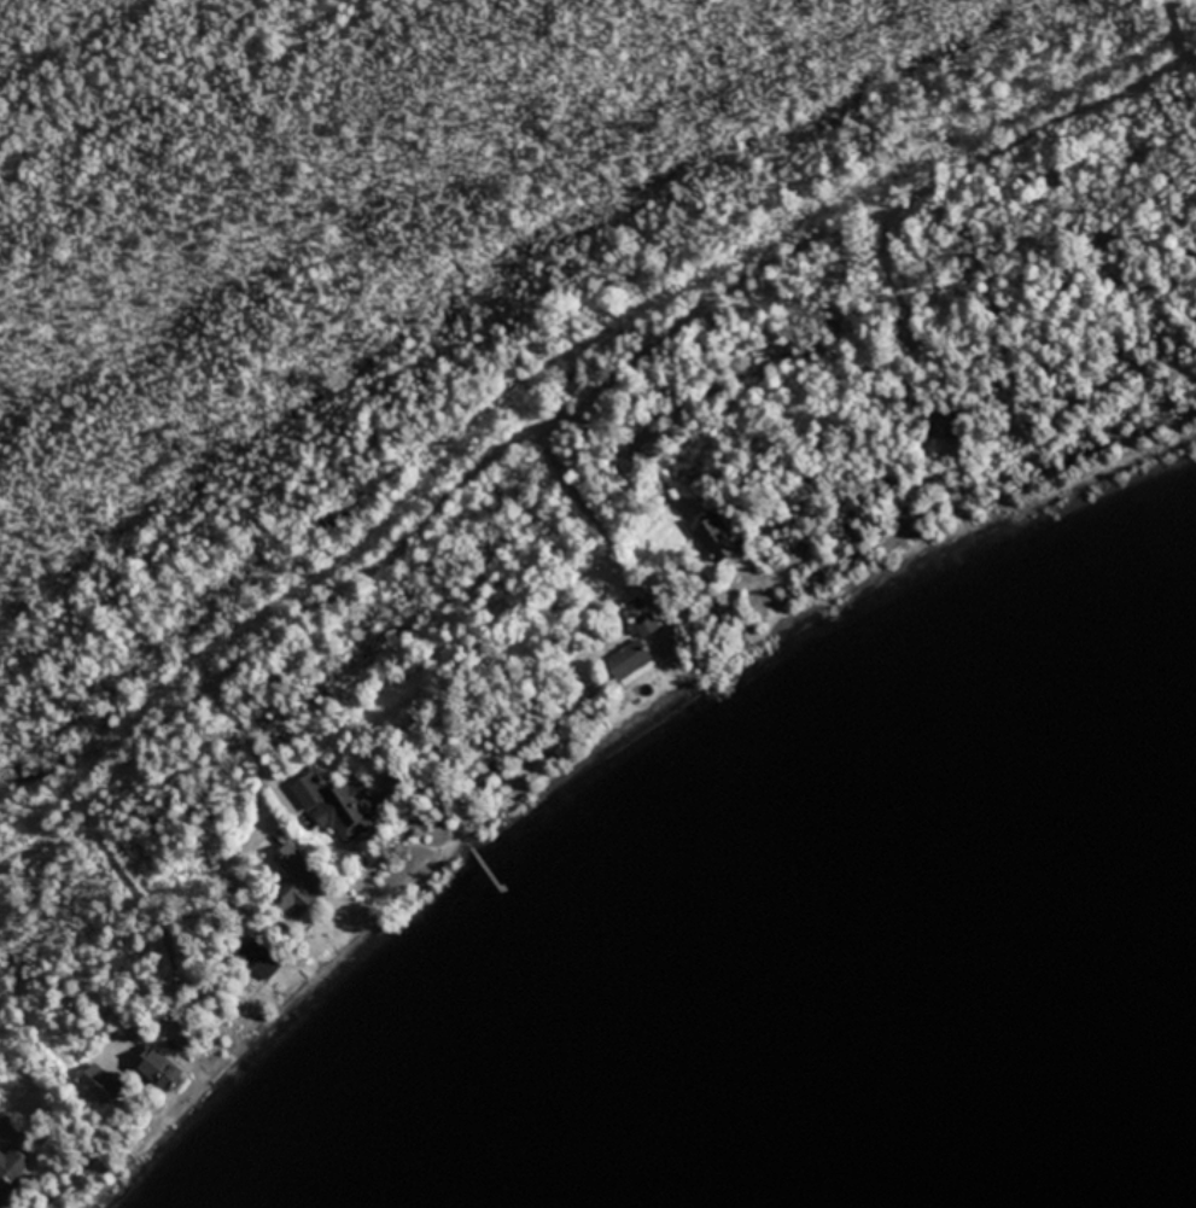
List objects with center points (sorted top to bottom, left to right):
road: (1177, 24)
road: (1189, 62)
road: (561, 420)
building: (718, 536)
building: (632, 648)
building: (339, 805)
building: (298, 891)
building: (161, 1070)
building: (98, 1081)
building: (8, 1155)

